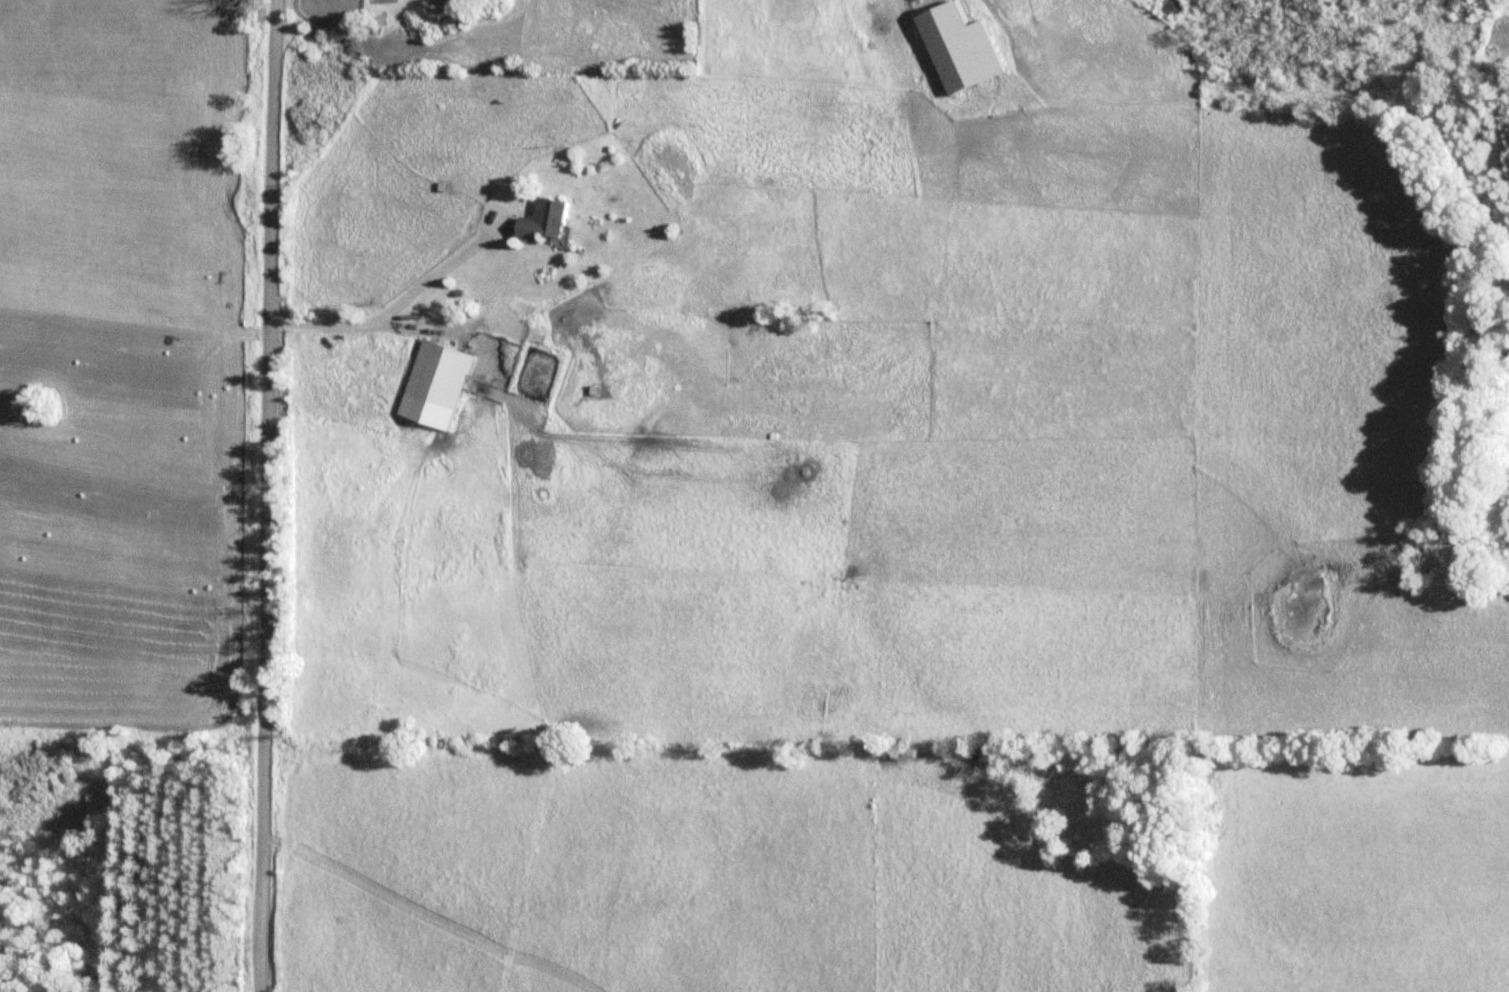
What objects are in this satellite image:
building: (966, 49)
building: (552, 221)
building: (440, 384)
building: (531, 389)
road: (268, 496)

